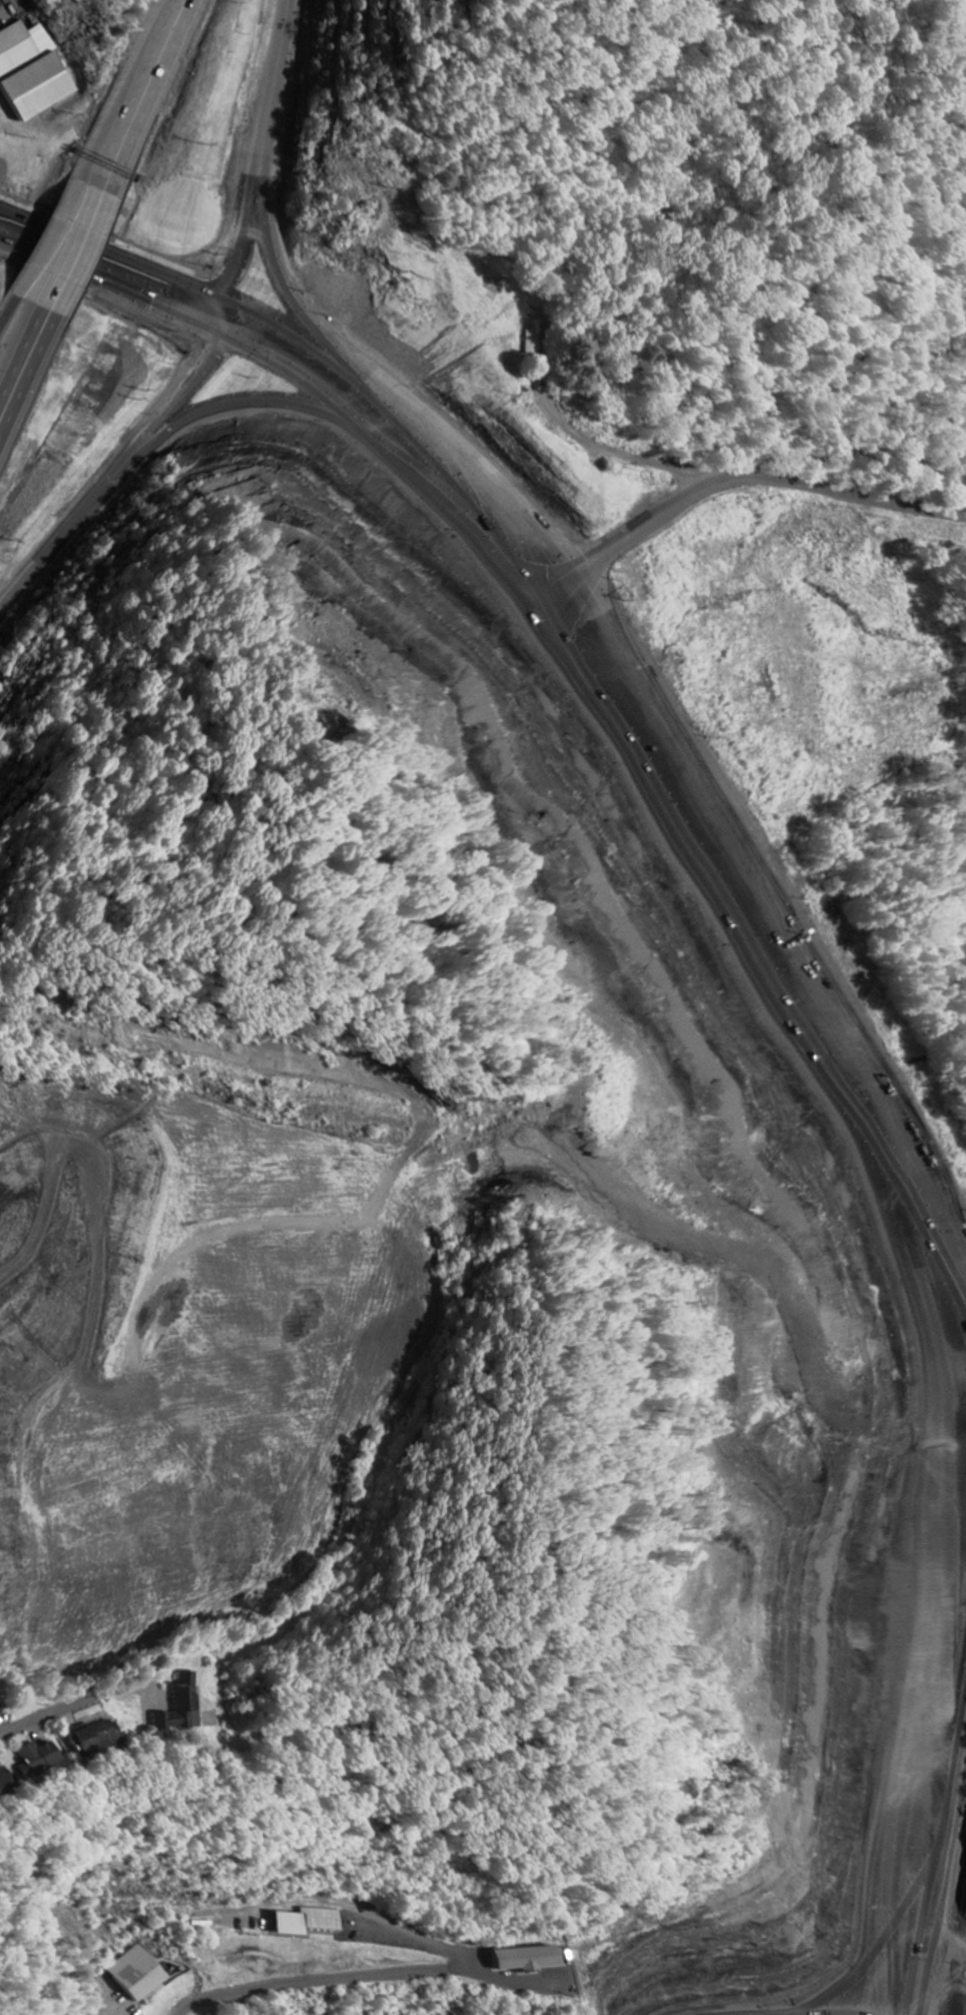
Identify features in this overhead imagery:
road: (162, 27)
road: (279, 66)
building: (32, 71)
road: (155, 100)
road: (113, 120)
road: (120, 123)
road: (243, 228)
road: (47, 238)
road: (66, 246)
road: (86, 255)
road: (268, 262)
road: (105, 274)
road: (174, 281)
road: (9, 306)
road: (246, 334)
road: (21, 348)
road: (208, 355)
road: (31, 380)
road: (886, 408)
road: (128, 464)
road: (759, 479)
road: (470, 481)
road: (504, 490)
road: (569, 579)
road: (783, 910)
road: (952, 1201)
road: (947, 1222)
building: (182, 1707)
building: (0, 1711)
road: (50, 1713)
building: (94, 1739)
building: (37, 1759)
building: (4, 1782)
road: (935, 1873)
road: (945, 1921)
building: (308, 1923)
building: (529, 1959)
building: (139, 1975)
road: (347, 1980)

